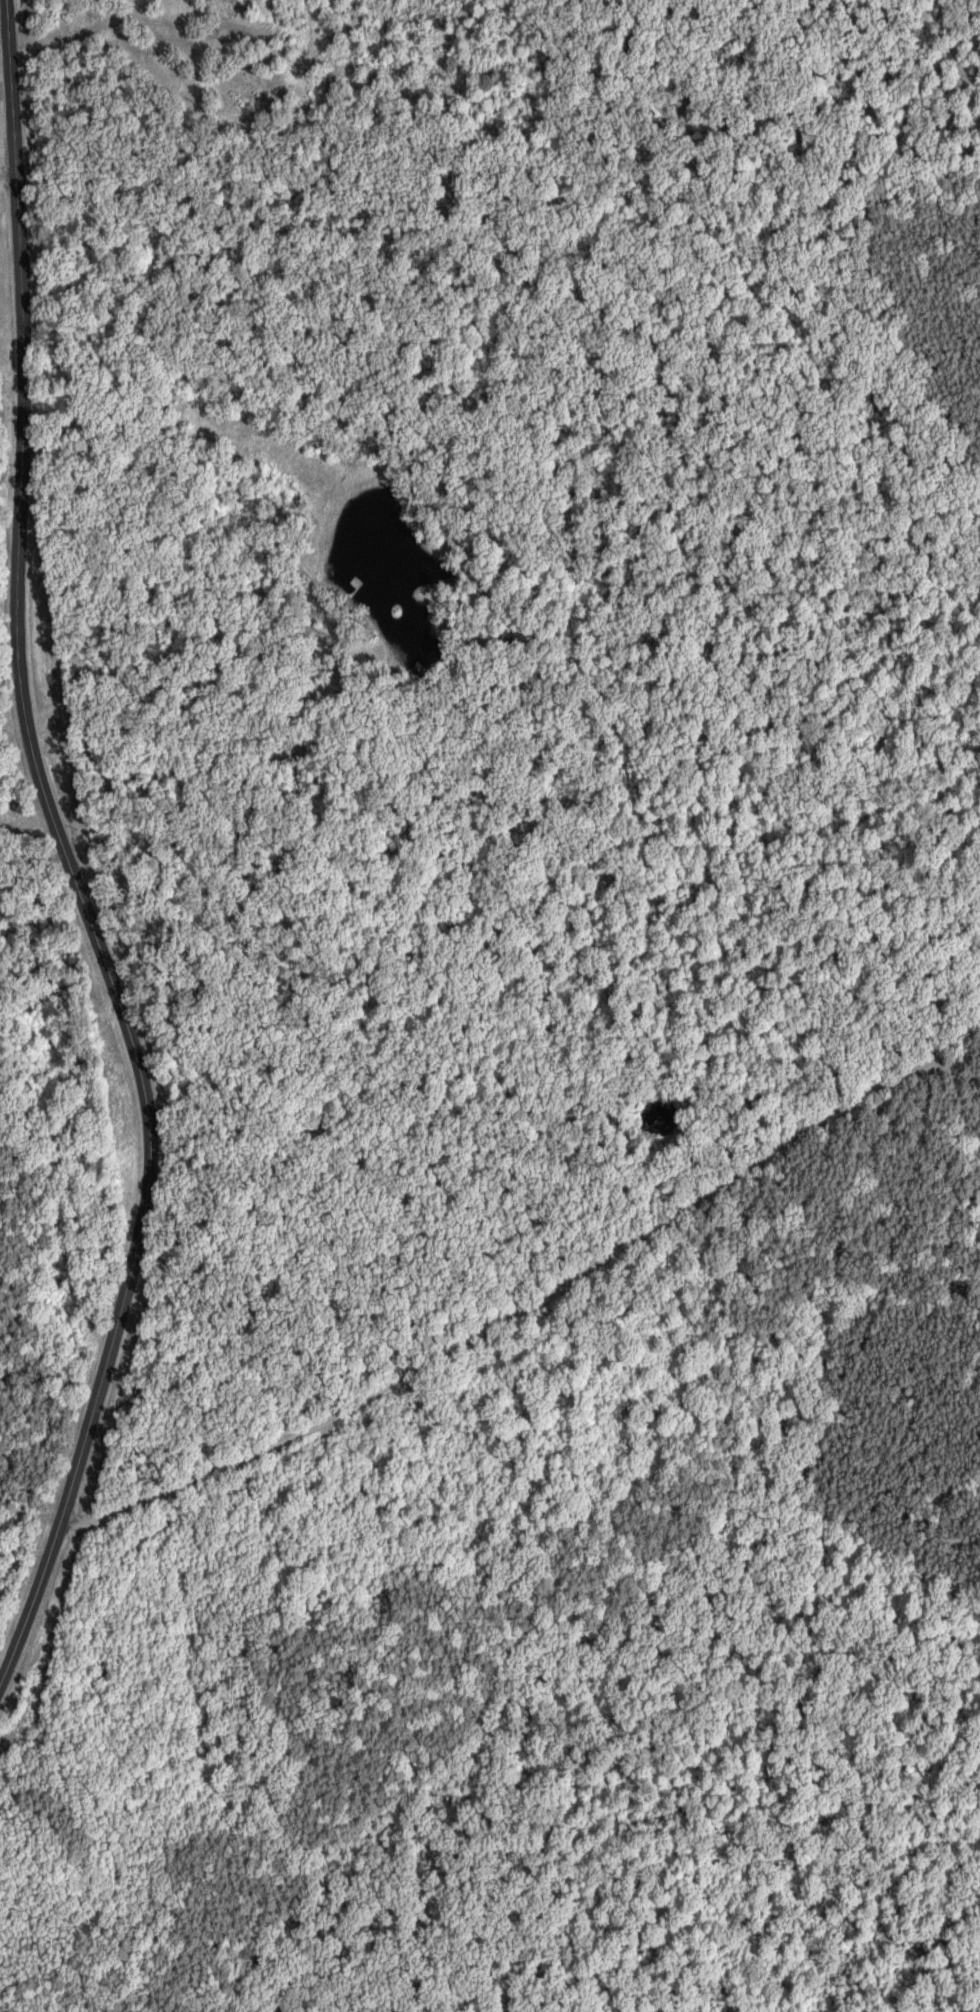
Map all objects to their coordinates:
road: (140, 21)
road: (37, 773)
road: (532, 1307)
road: (29, 1585)

